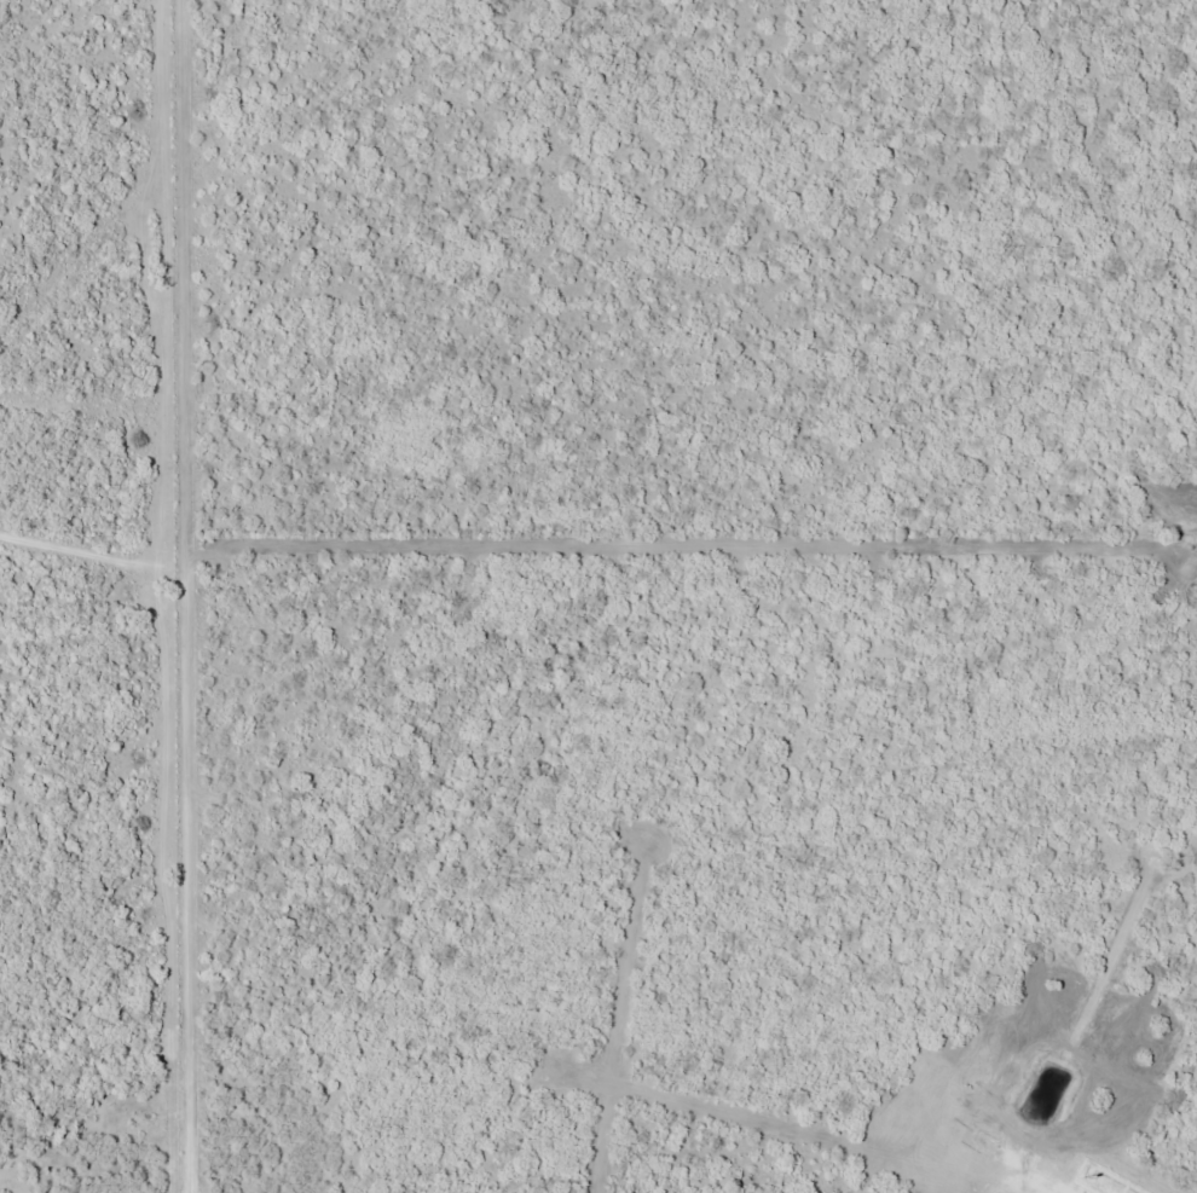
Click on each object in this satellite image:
road: (1043, 1187)

